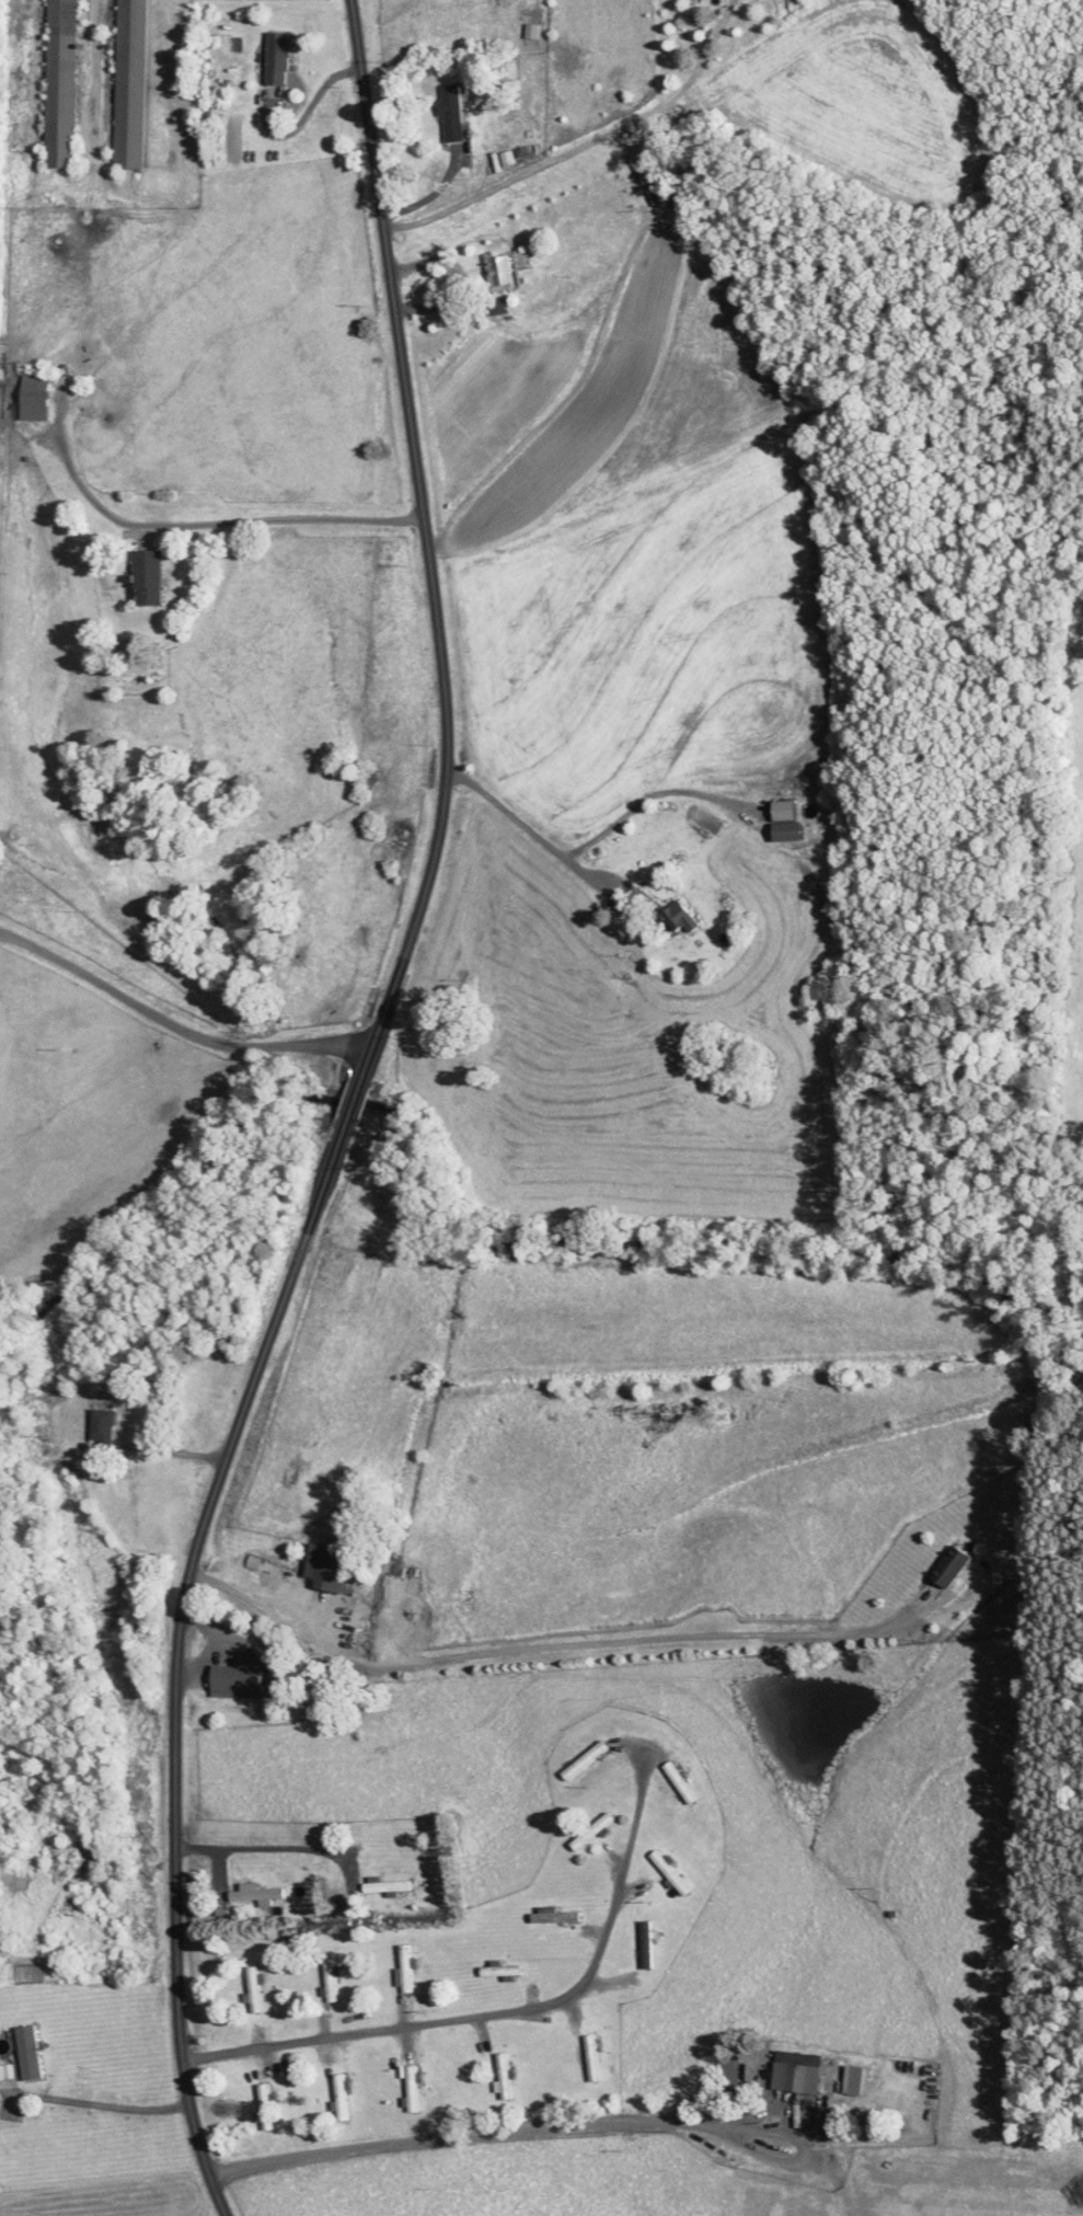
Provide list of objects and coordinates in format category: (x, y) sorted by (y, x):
building: (283, 59)
building: (62, 84)
building: (134, 84)
road: (310, 107)
building: (454, 114)
road: (581, 143)
road: (429, 194)
road: (682, 236)
building: (502, 271)
building: (37, 397)
road: (280, 518)
building: (153, 577)
building: (129, 651)
building: (787, 810)
road: (533, 833)
road: (502, 884)
building: (690, 916)
building: (826, 1004)
road: (175, 1024)
road: (347, 1114)
building: (107, 1430)
building: (4, 1512)
building: (954, 1566)
building: (332, 1569)
road: (549, 1645)
building: (284, 1677)
building: (241, 1681)
building: (587, 1759)
building: (682, 1782)
road: (633, 1828)
building: (596, 1830)
road: (262, 1845)
building: (675, 1873)
building: (389, 1886)
building: (258, 1894)
building: (557, 1917)
building: (649, 1944)
building: (407, 1970)
building: (504, 1972)
building: (333, 1979)
building: (256, 1989)
road: (428, 2024)
building: (32, 2054)
building: (592, 2057)
building: (800, 2073)
building: (506, 2076)
building: (855, 2080)
building: (414, 2089)
building: (343, 2098)
road: (102, 2103)
building: (266, 2108)
road: (564, 2125)
building: (976, 2172)
building: (754, 2200)
building: (809, 2201)
building: (885, 2215)

